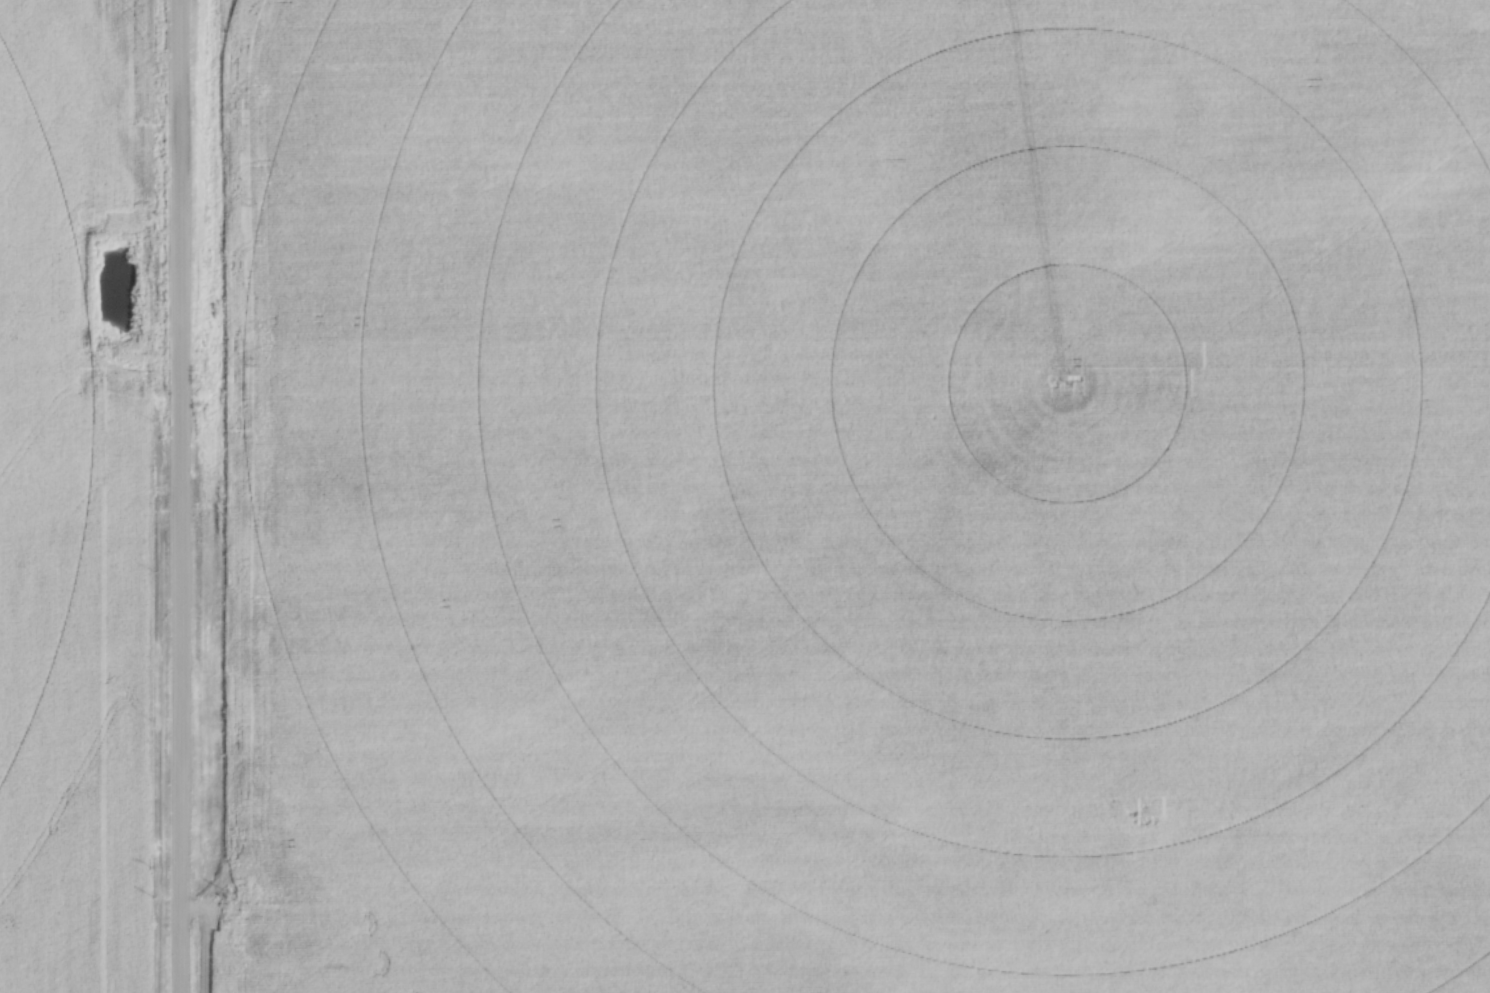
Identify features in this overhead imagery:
road: (181, 496)

